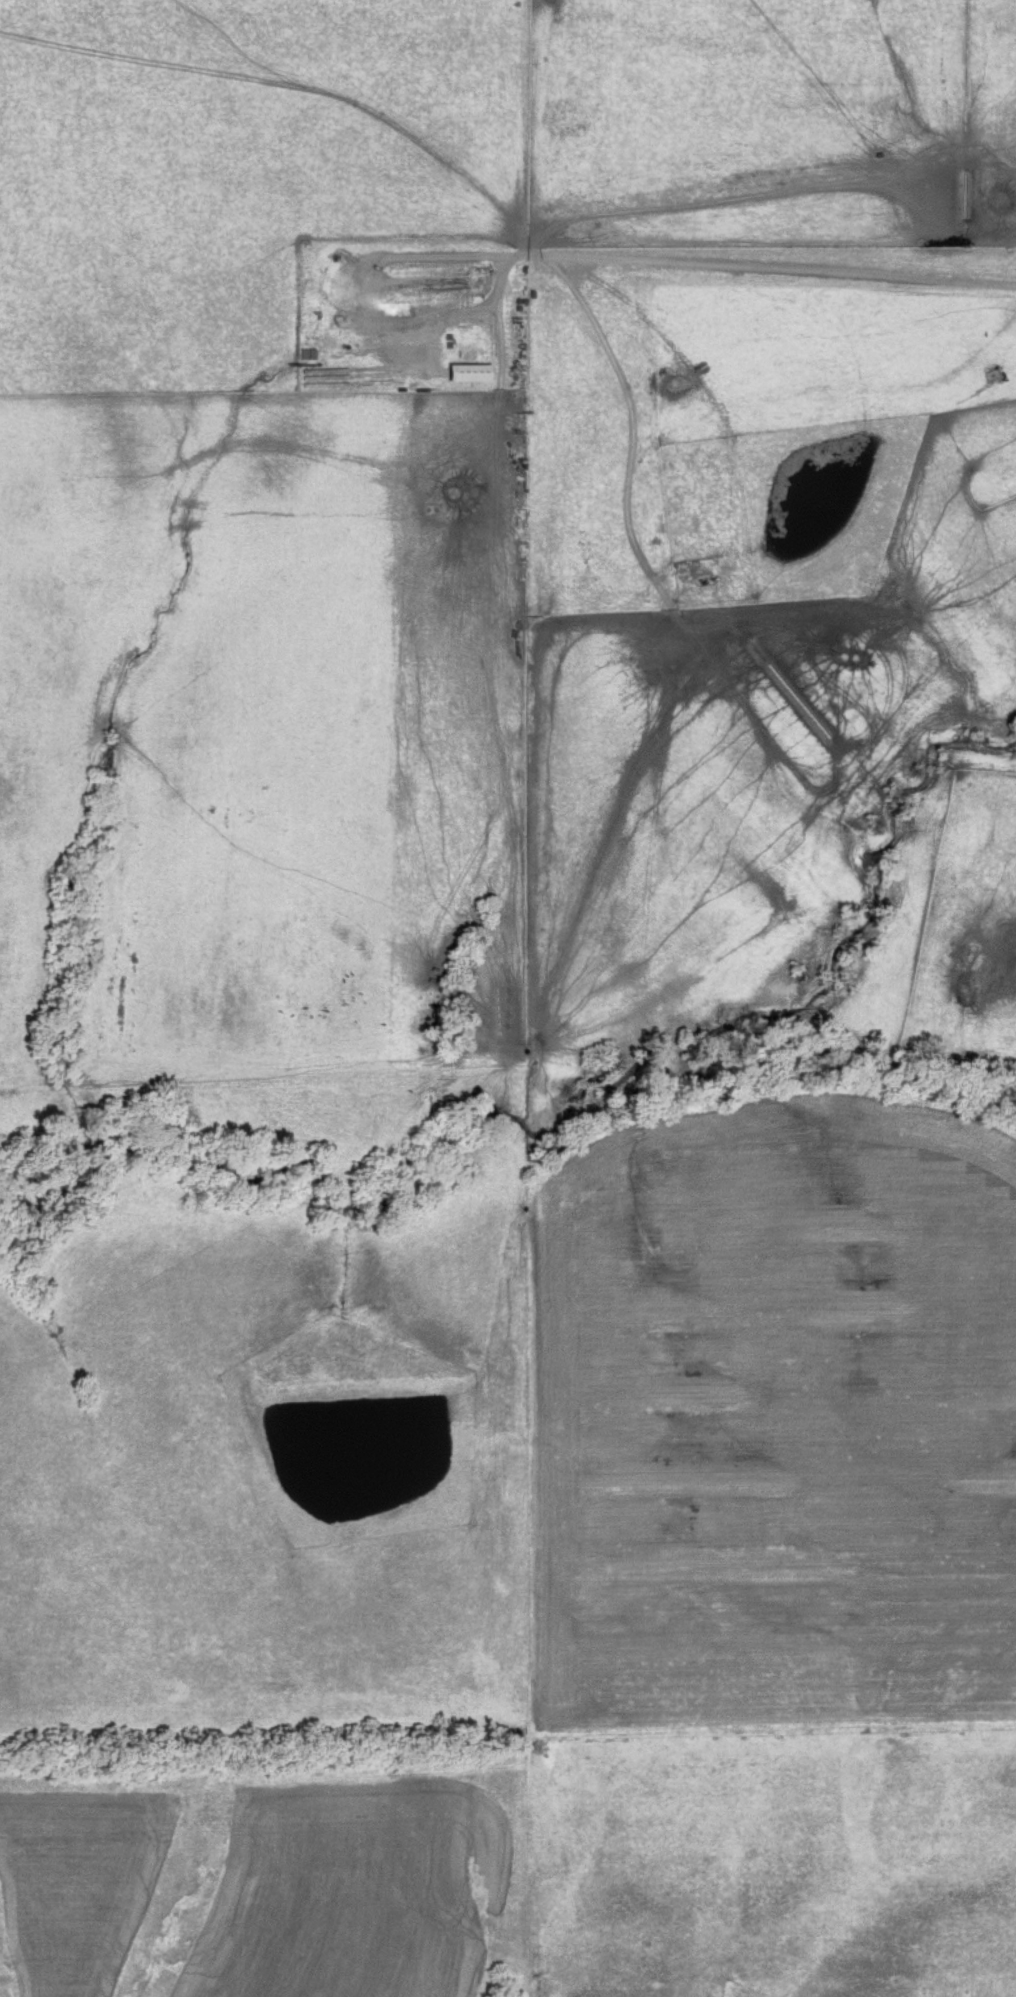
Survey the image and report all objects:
building: (466, 374)
building: (693, 573)
road: (842, 640)

